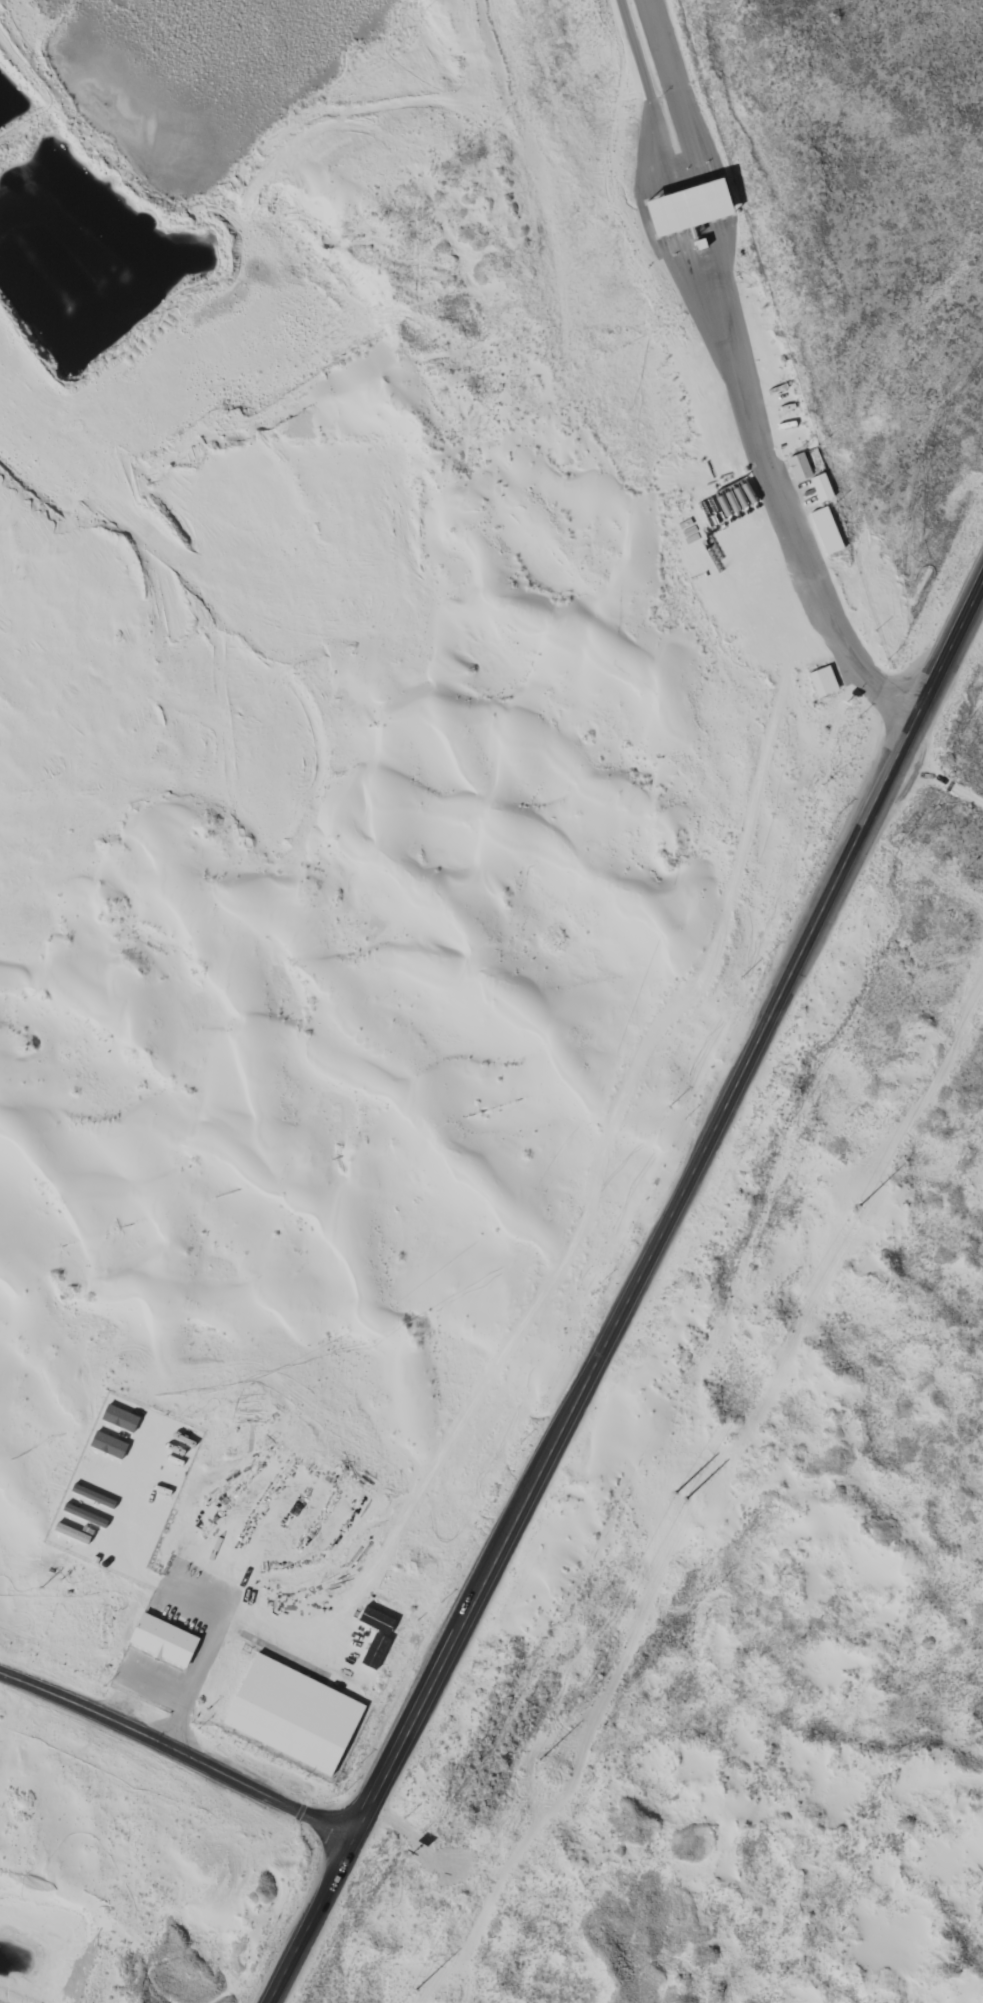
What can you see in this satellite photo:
building: (697, 207)
building: (802, 467)
building: (824, 488)
building: (830, 531)
building: (826, 682)
road: (946, 771)
power tower: (857, 1209)
road: (628, 1297)
building: (123, 1418)
building: (112, 1445)
power tower: (699, 1504)
road: (181, 1590)
building: (167, 1641)
building: (298, 1715)
road: (179, 1750)
power tower: (555, 1764)
power tower: (433, 1998)

